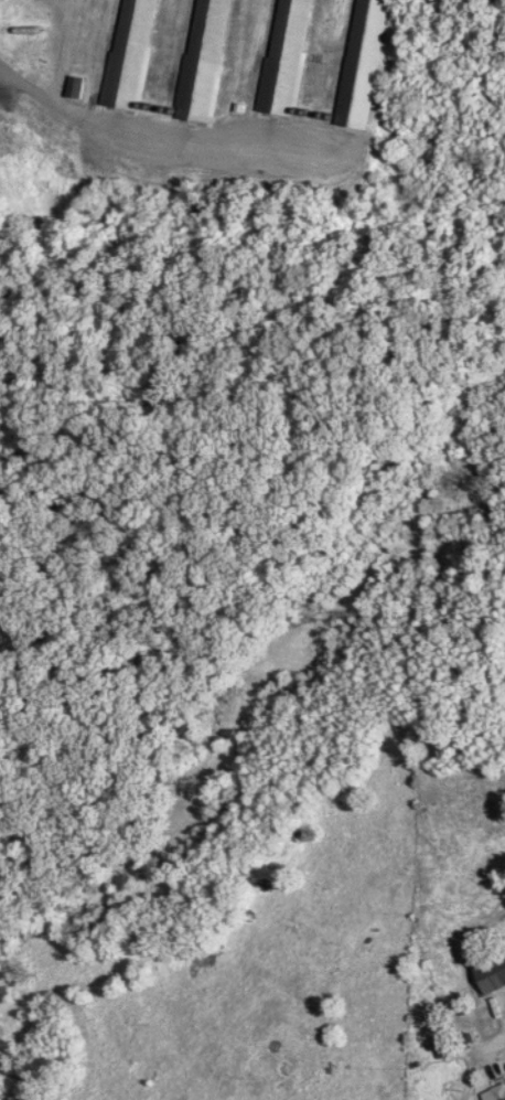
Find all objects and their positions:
building: (131, 55)
building: (287, 57)
building: (204, 61)
building: (363, 64)
road: (44, 97)
building: (491, 976)
building: (441, 1047)
road: (492, 1060)
building: (498, 1092)

